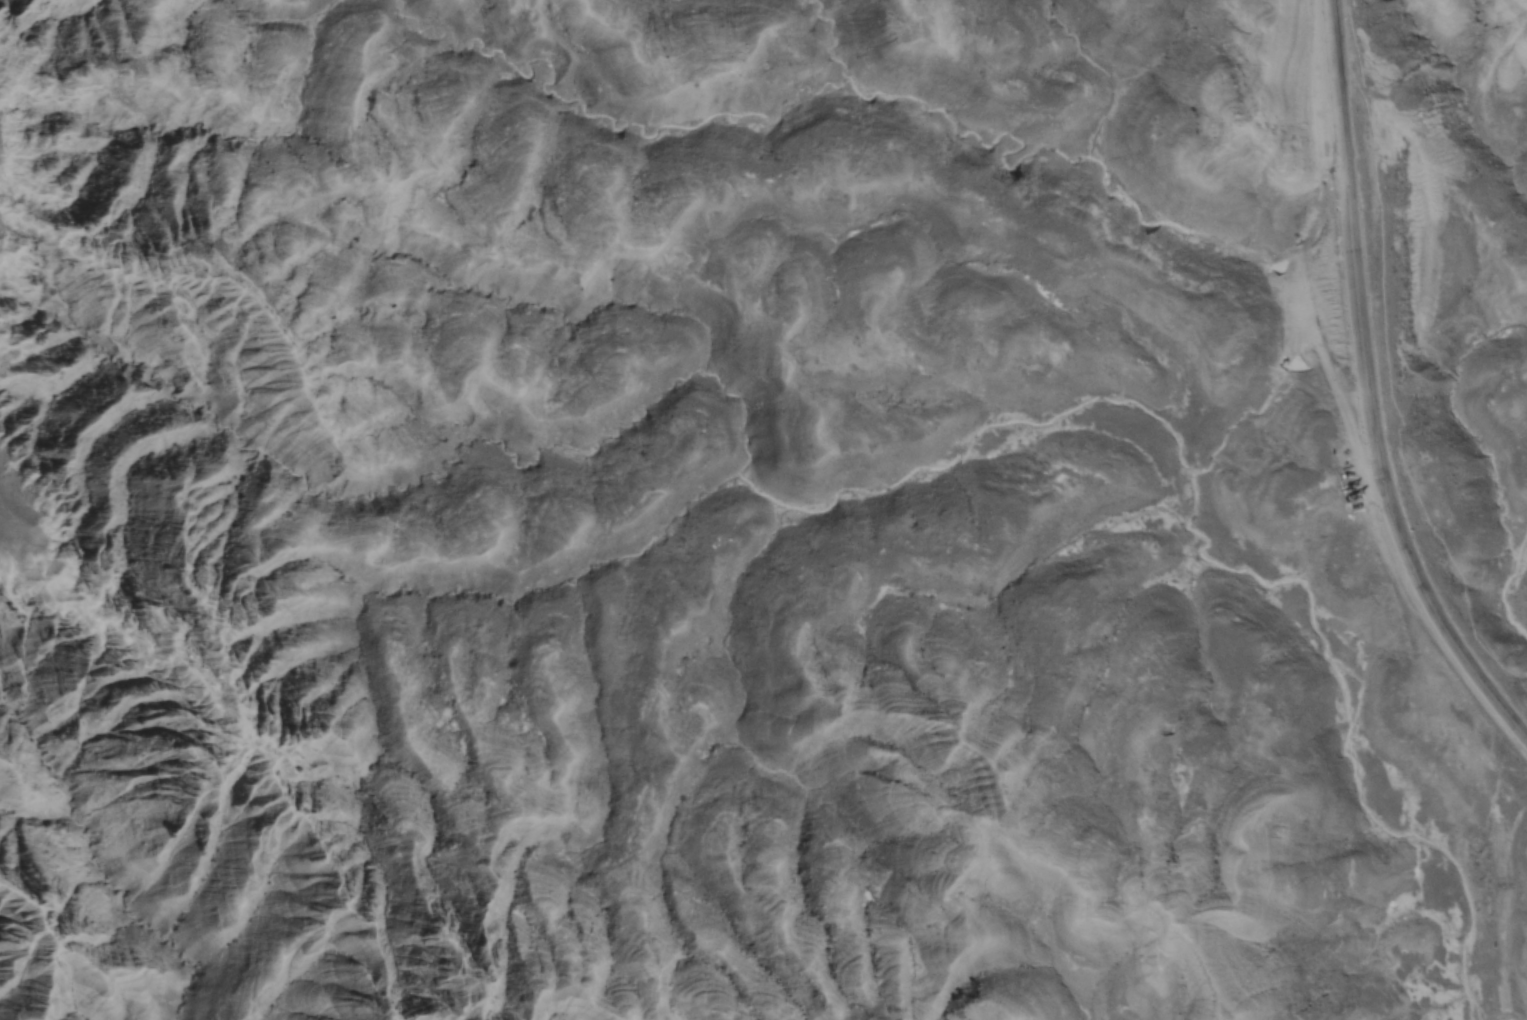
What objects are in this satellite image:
road: (1372, 389)

